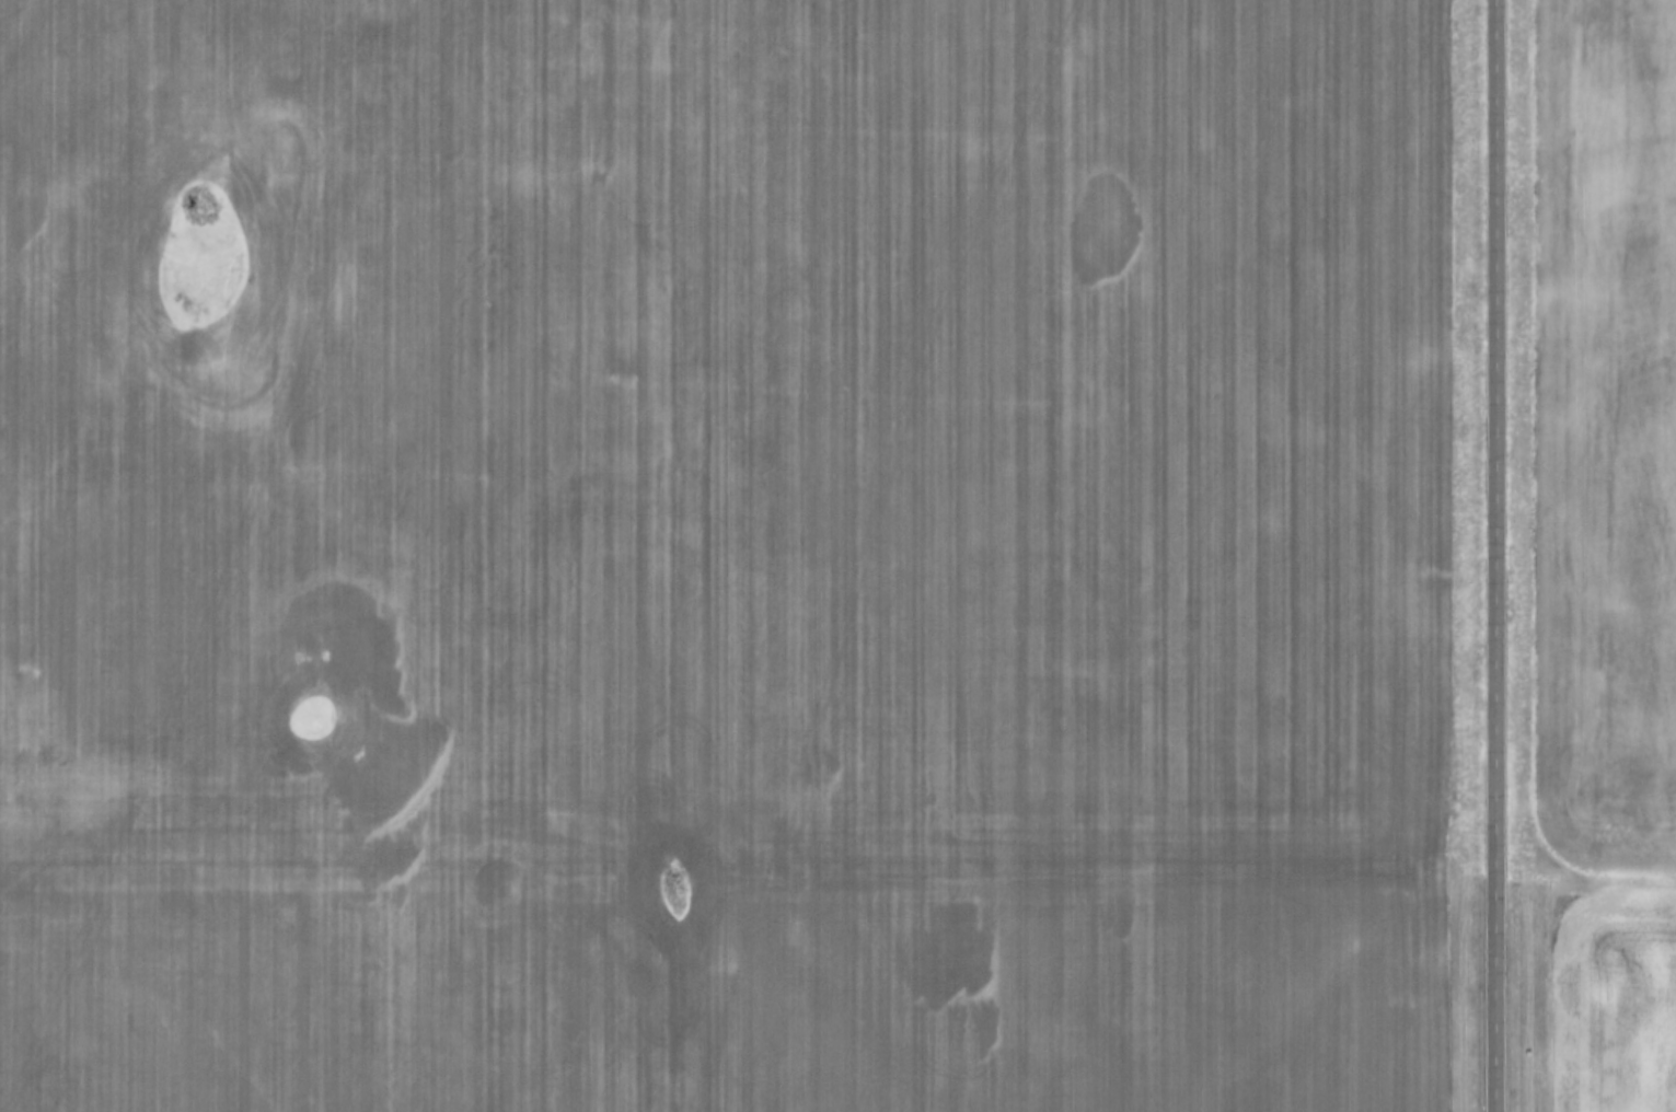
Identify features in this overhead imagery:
road: (1499, 555)
road: (1587, 864)

